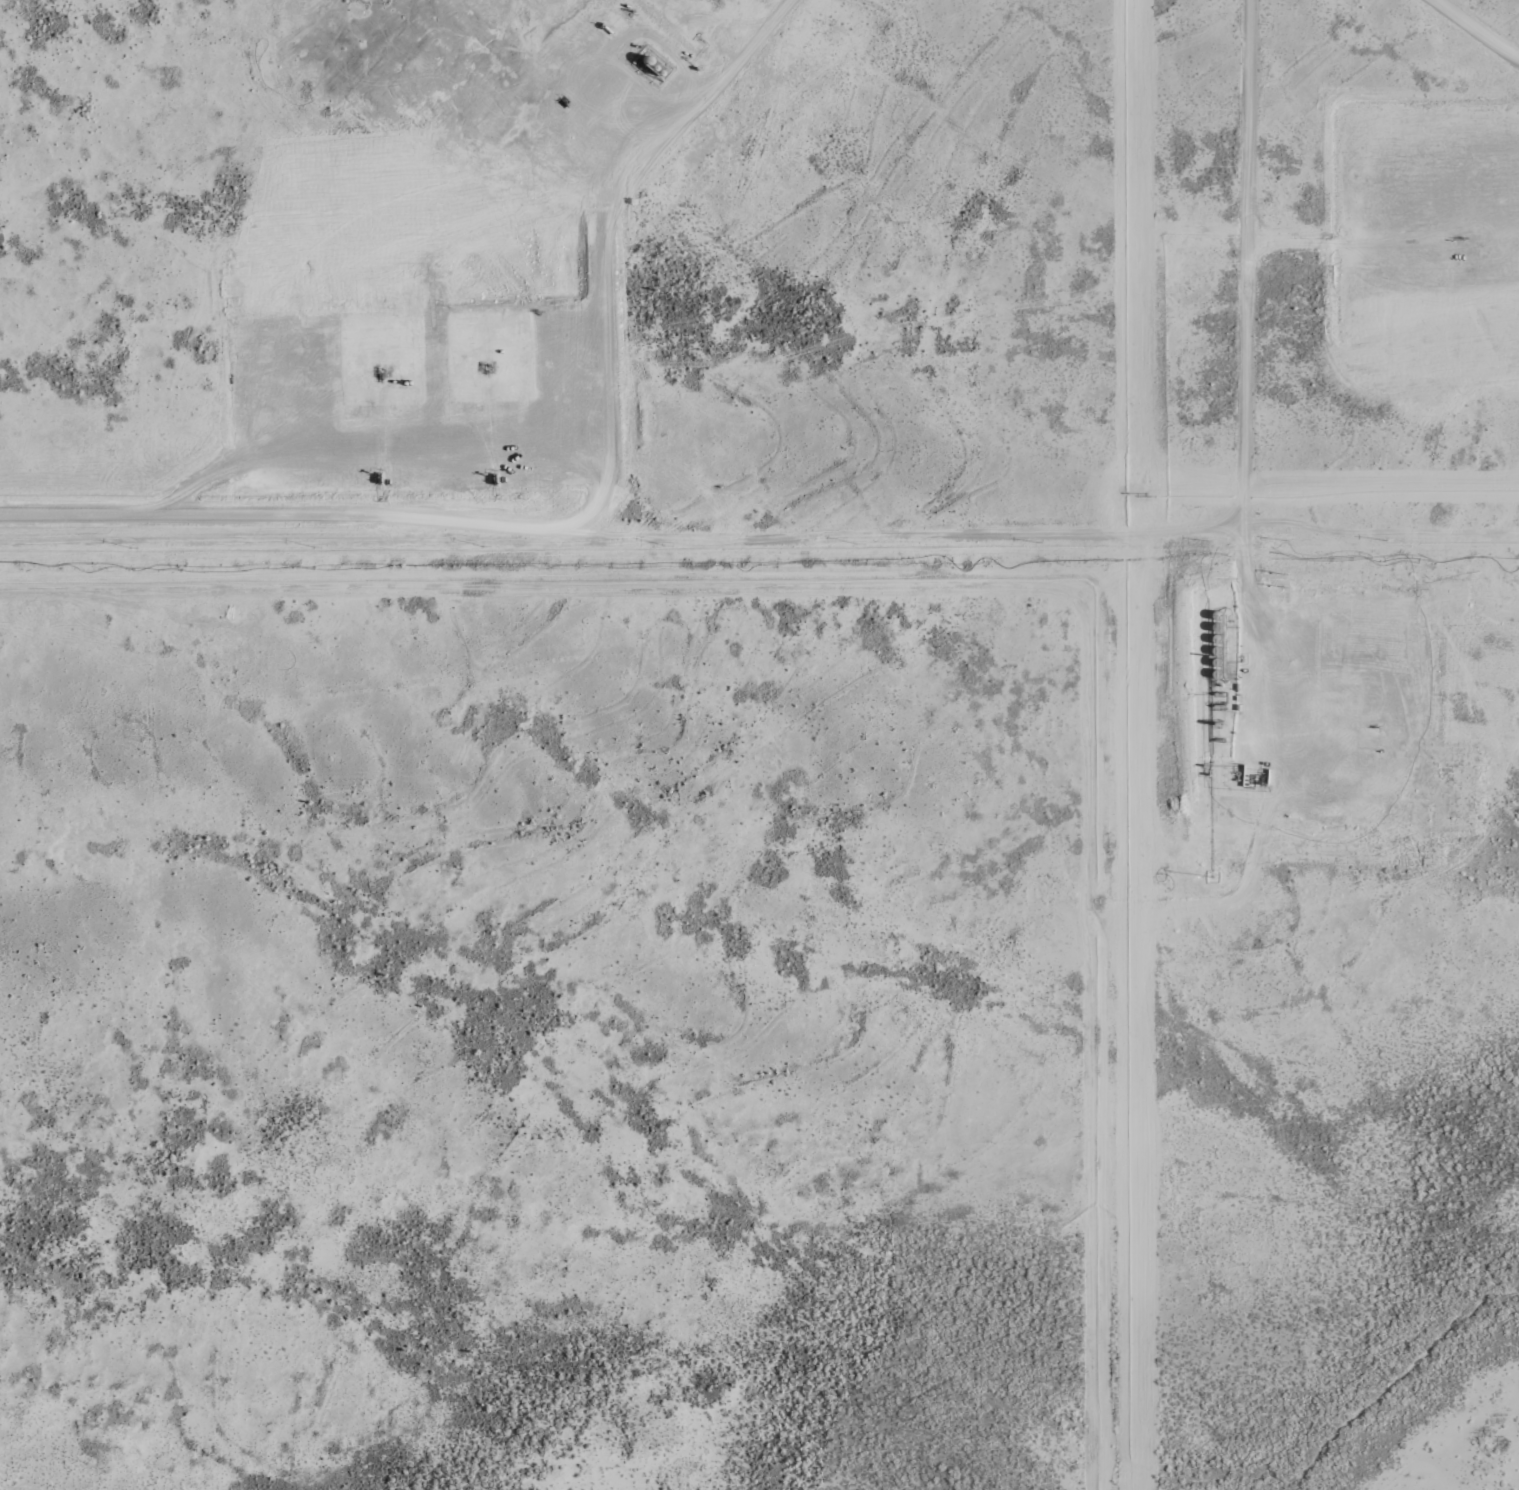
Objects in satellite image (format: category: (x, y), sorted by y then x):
road: (1474, 33)
road: (588, 513)

